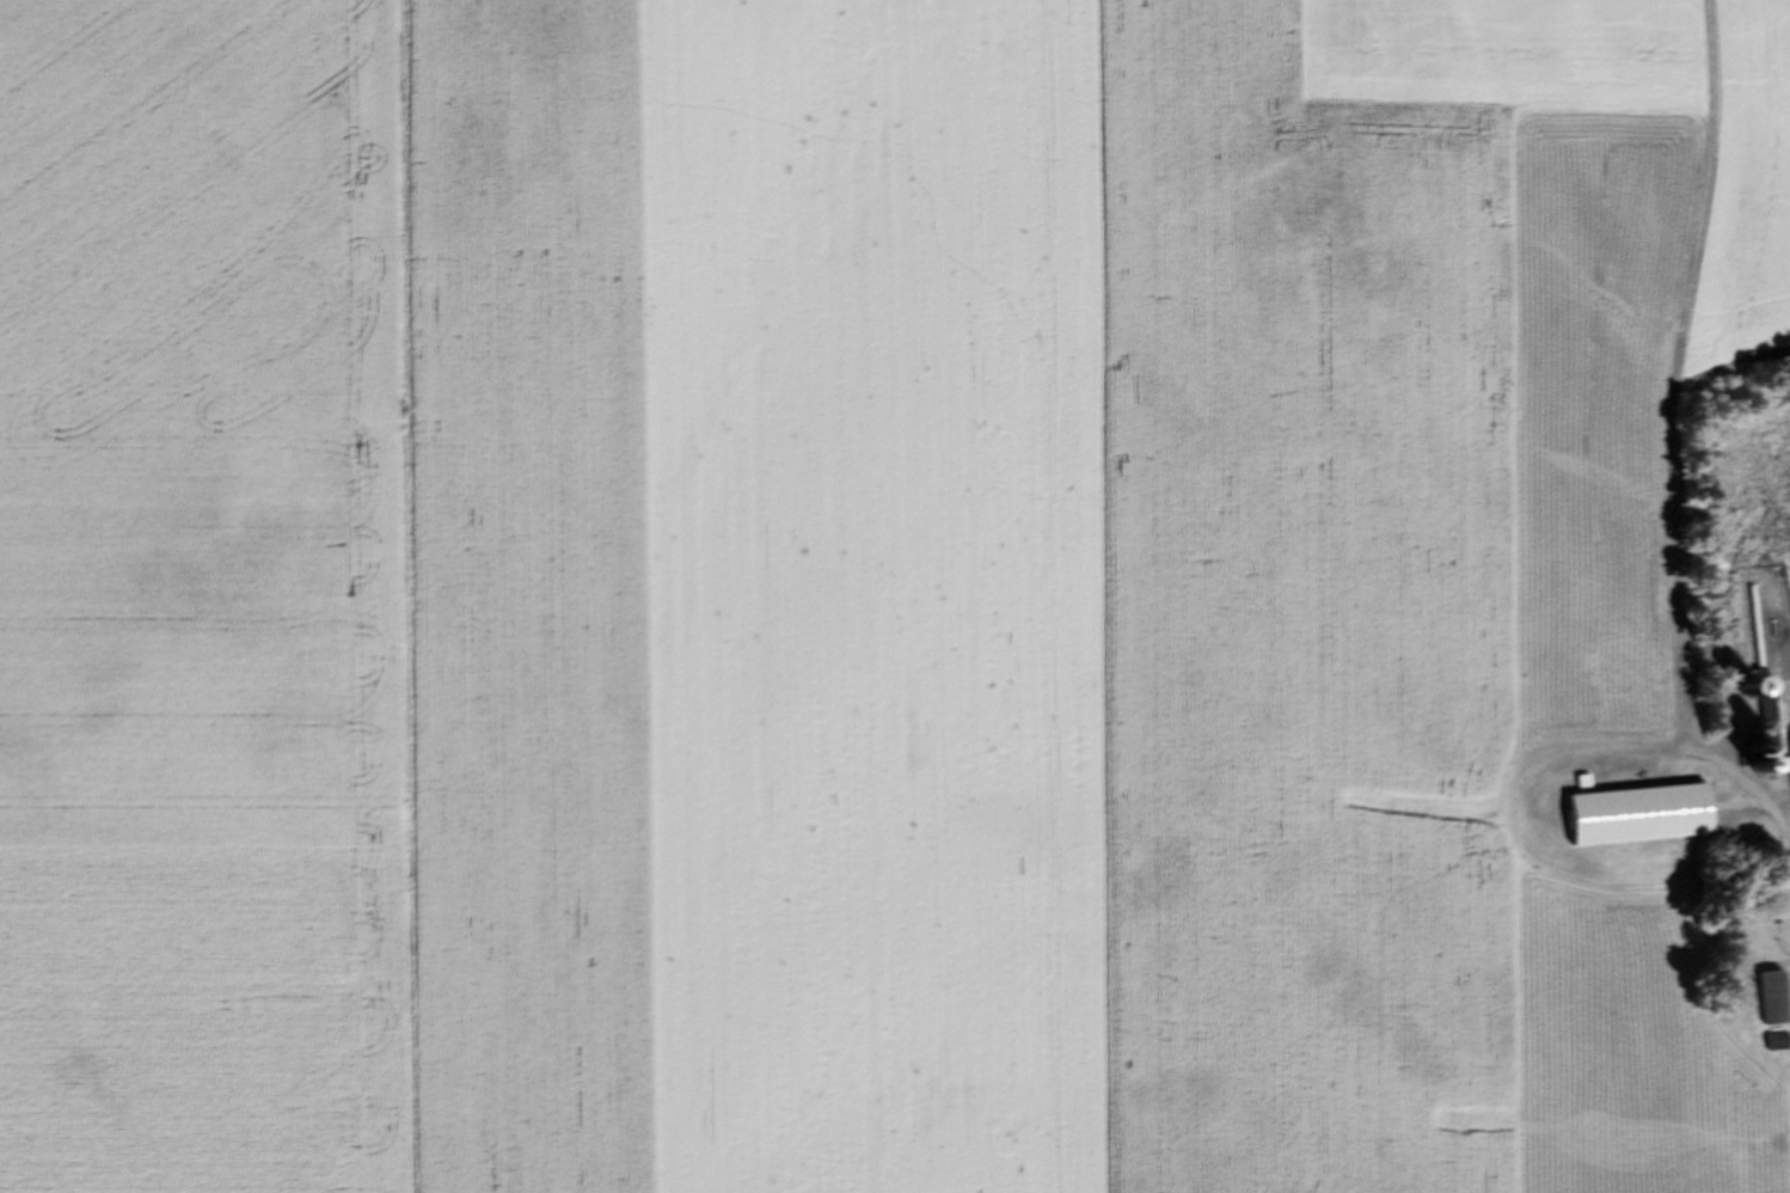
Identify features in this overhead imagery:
building: (1728, 690)
building: (1789, 753)
building: (1629, 815)
building: (1765, 997)
building: (1772, 1041)

